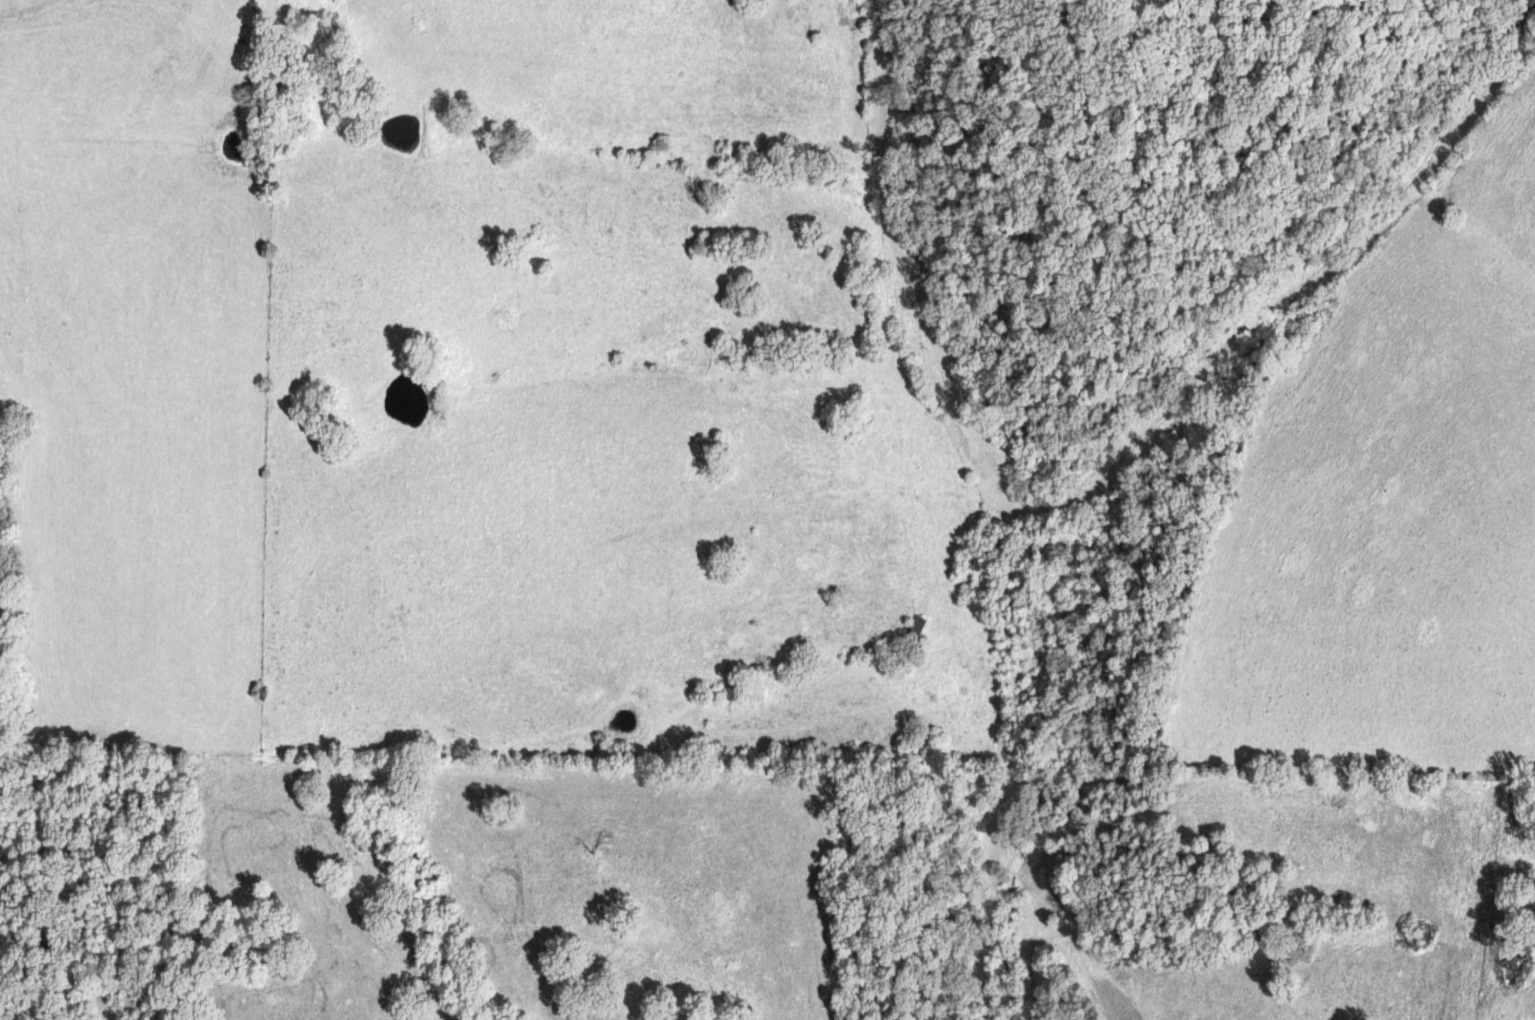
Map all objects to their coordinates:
road: (1238, 324)

